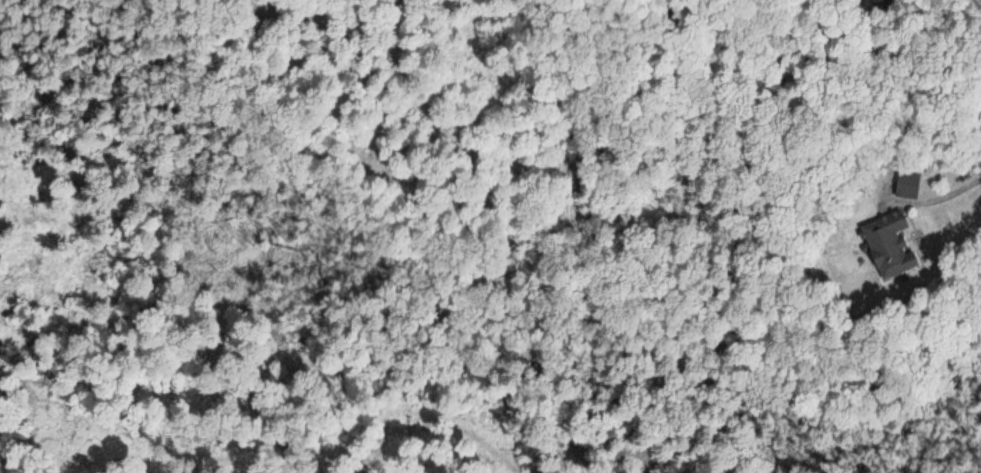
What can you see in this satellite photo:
building: (883, 0)
building: (905, 185)
building: (887, 245)

